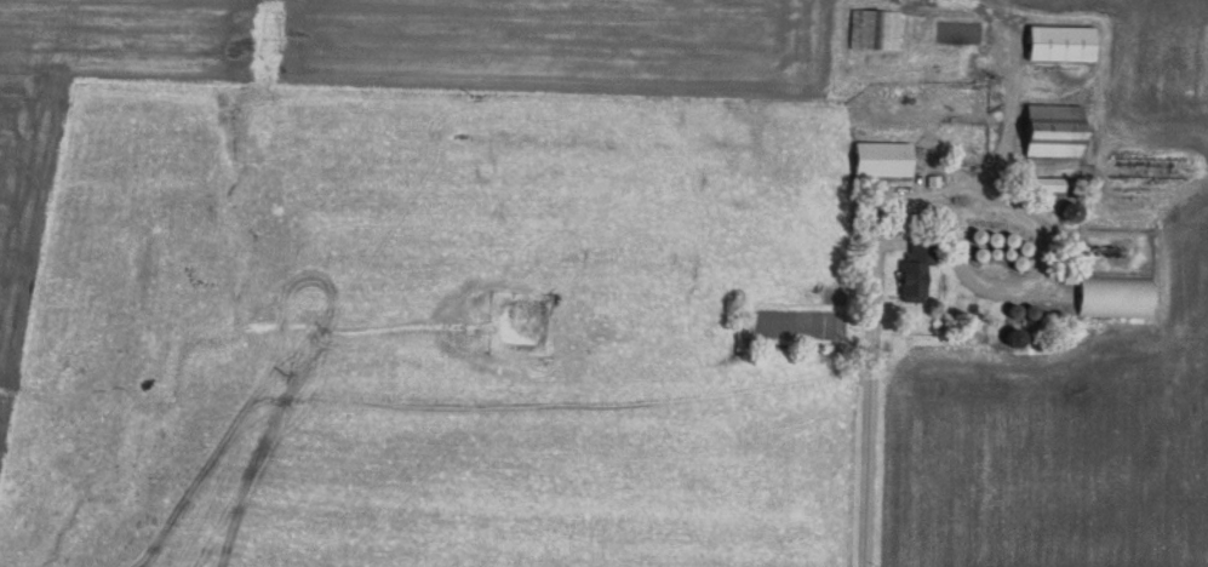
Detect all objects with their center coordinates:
building: (874, 29)
building: (1059, 44)
building: (1050, 131)
building: (878, 159)
building: (909, 282)
building: (1113, 297)
road: (866, 380)

